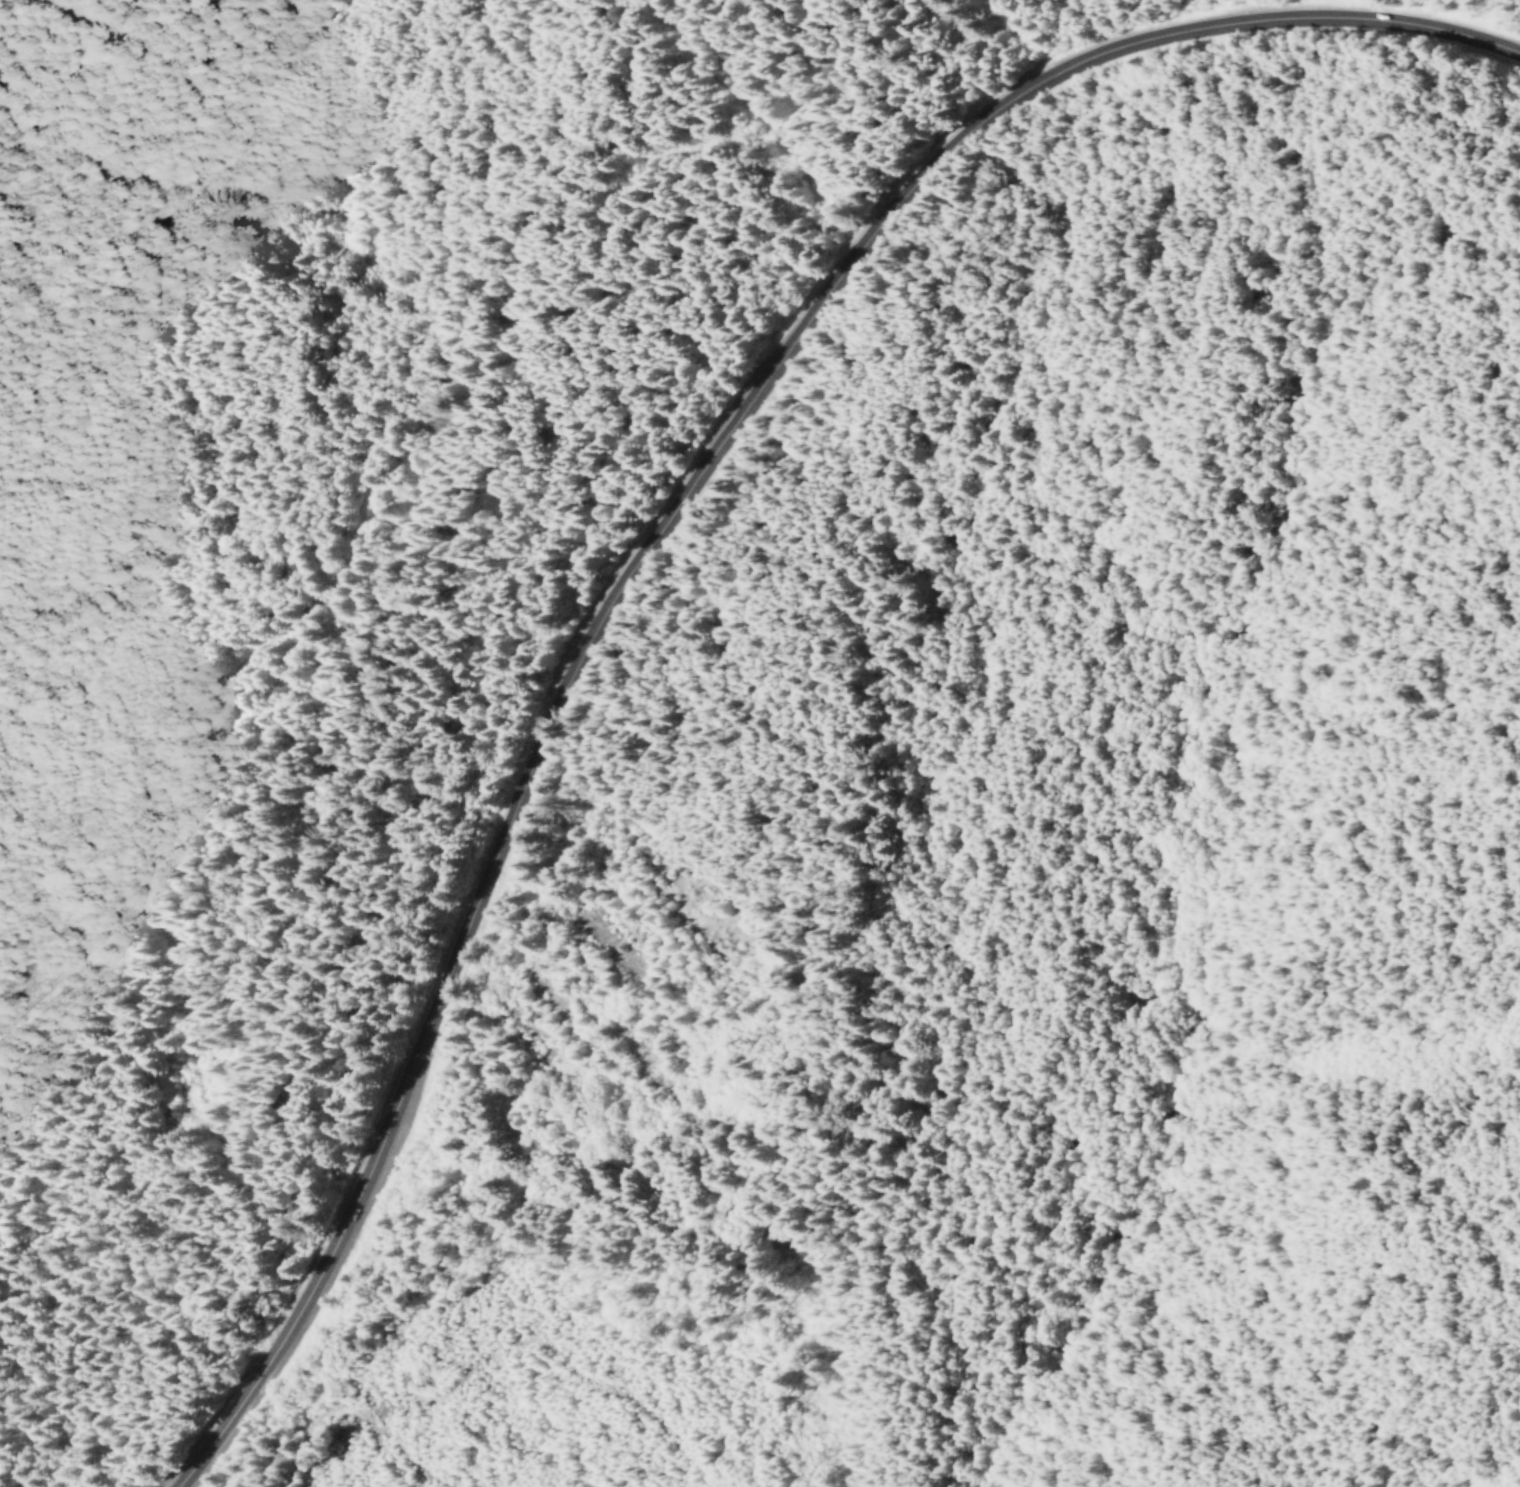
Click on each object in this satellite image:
road: (651, 519)

